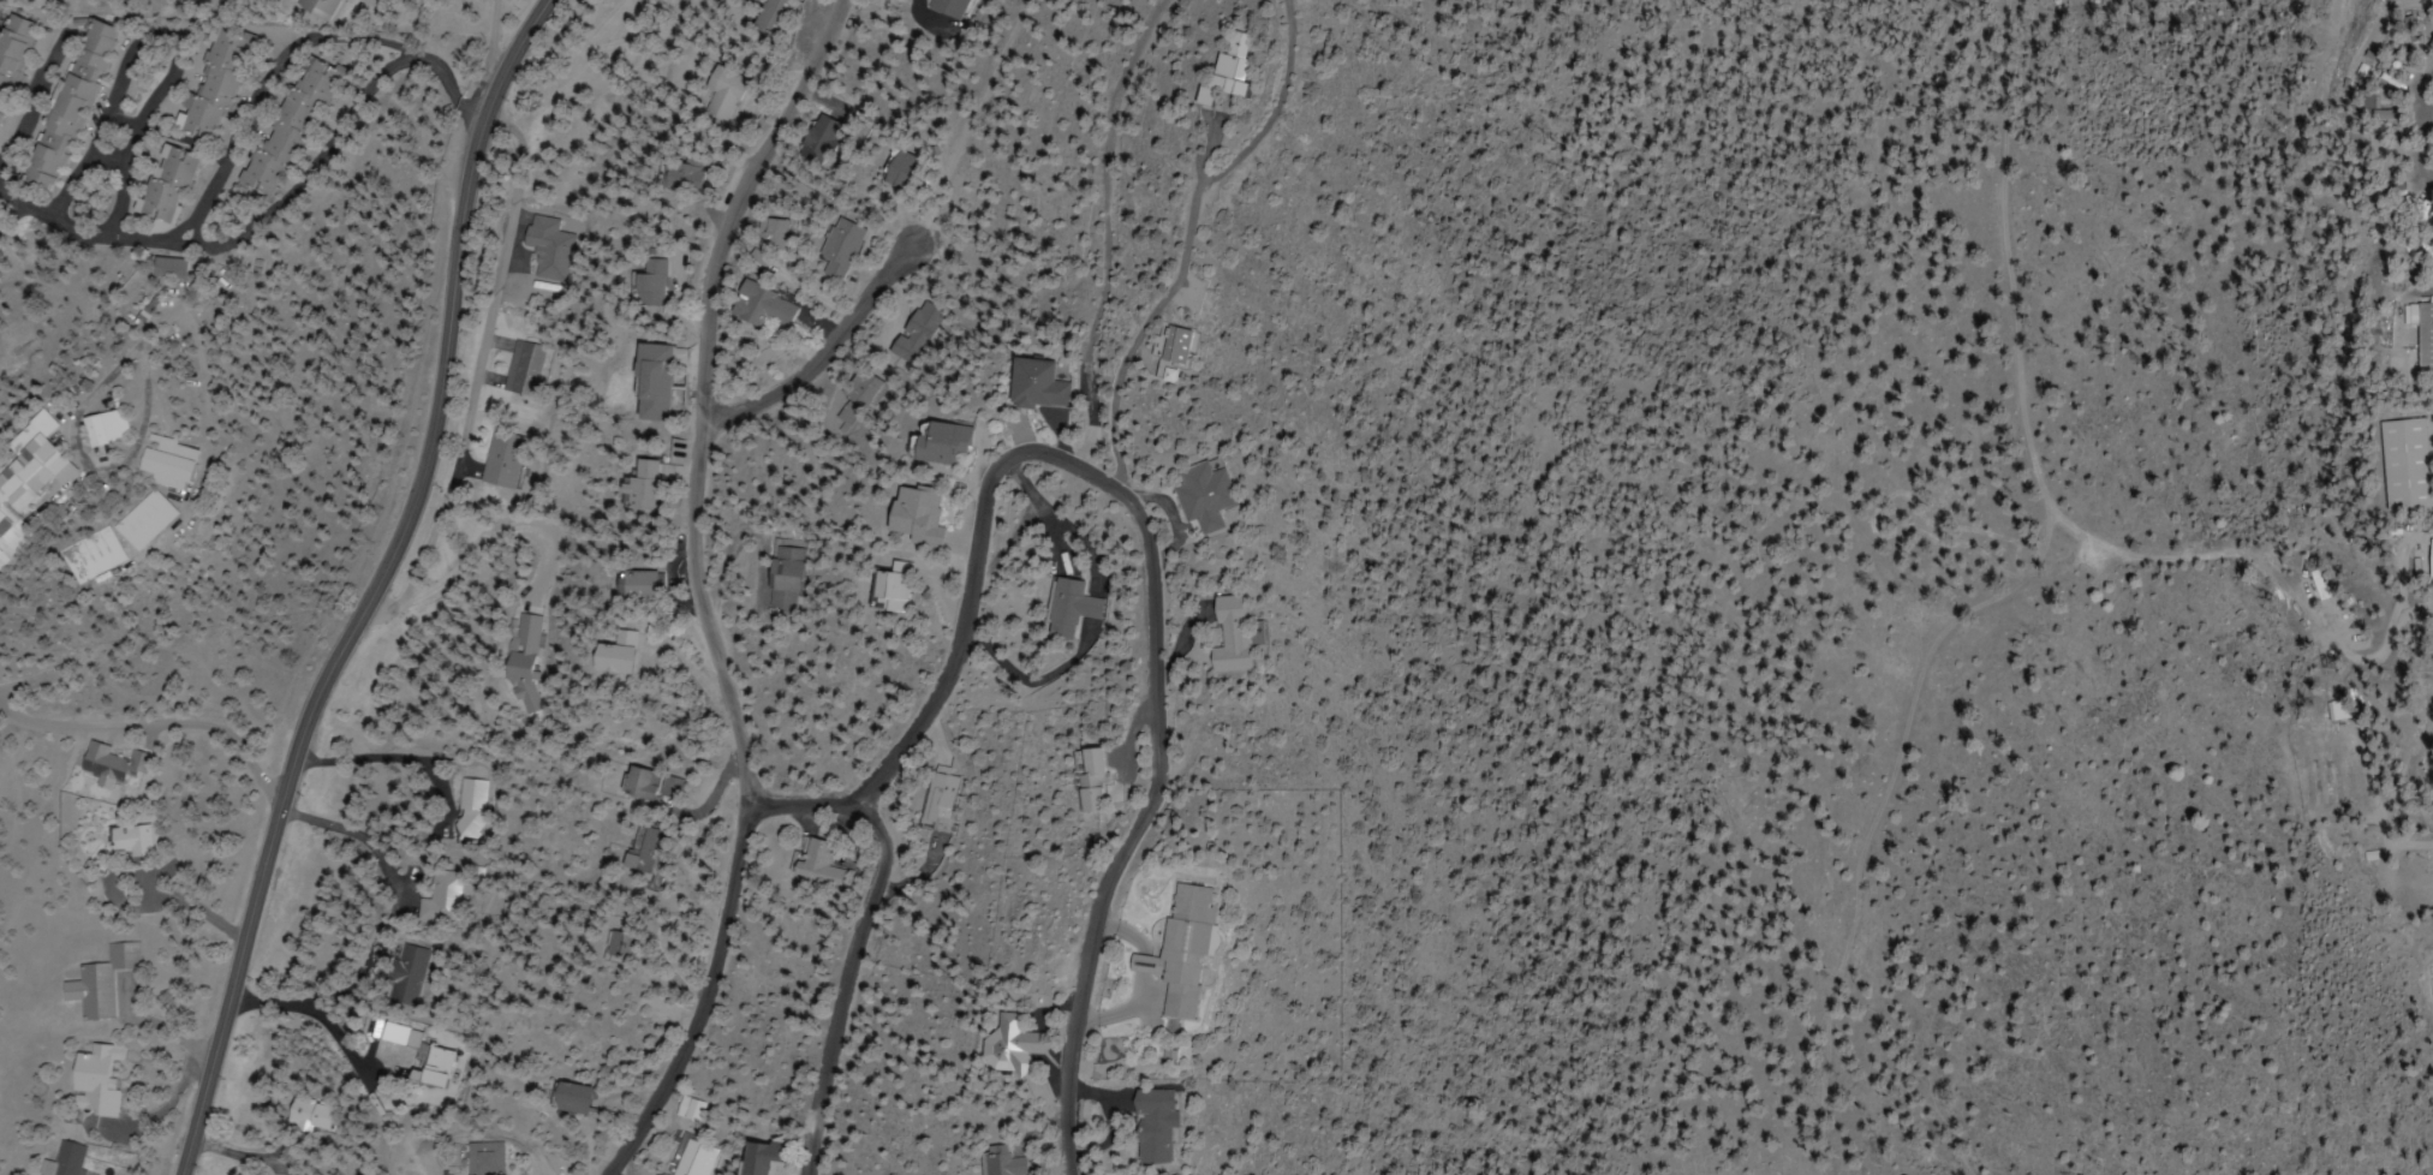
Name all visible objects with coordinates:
building: (314, 7)
building: (955, 8)
building: (770, 17)
road: (160, 37)
building: (13, 46)
building: (1234, 70)
building: (213, 83)
building: (724, 95)
building: (66, 105)
building: (282, 125)
road: (231, 143)
building: (898, 169)
building: (678, 175)
building: (163, 185)
road: (12, 227)
building: (767, 228)
road: (1123, 232)
road: (100, 234)
road: (1197, 240)
building: (835, 249)
building: (547, 252)
road: (201, 263)
building: (643, 281)
building: (755, 305)
building: (920, 332)
building: (2422, 336)
building: (1173, 344)
road: (822, 358)
building: (523, 368)
building: (645, 381)
building: (1033, 384)
building: (860, 399)
building: (105, 425)
building: (934, 443)
road: (1033, 452)
building: (500, 459)
building: (159, 461)
building: (2402, 464)
building: (29, 479)
building: (639, 483)
building: (1200, 494)
building: (908, 514)
building: (137, 518)
building: (2428, 554)
building: (628, 583)
building: (776, 583)
road: (368, 586)
building: (883, 586)
road: (693, 587)
building: (1072, 608)
building: (1228, 636)
building: (604, 654)
building: (520, 656)
road: (34, 679)
building: (2333, 711)
road: (151, 724)
building: (105, 763)
building: (1090, 780)
building: (645, 785)
building: (942, 798)
road: (806, 805)
building: (467, 807)
building: (123, 839)
building: (638, 852)
building: (817, 865)
building: (439, 901)
building: (1175, 949)
building: (406, 974)
building: (97, 982)
building: (2431, 991)
building: (394, 1036)
building: (1009, 1046)
building: (429, 1067)
building: (88, 1080)
building: (566, 1098)
building: (694, 1109)
building: (304, 1114)
building: (1146, 1127)
building: (757, 1157)
building: (484, 1158)
building: (697, 1158)
building: (58, 1161)
building: (996, 1162)
building: (279, 1164)

